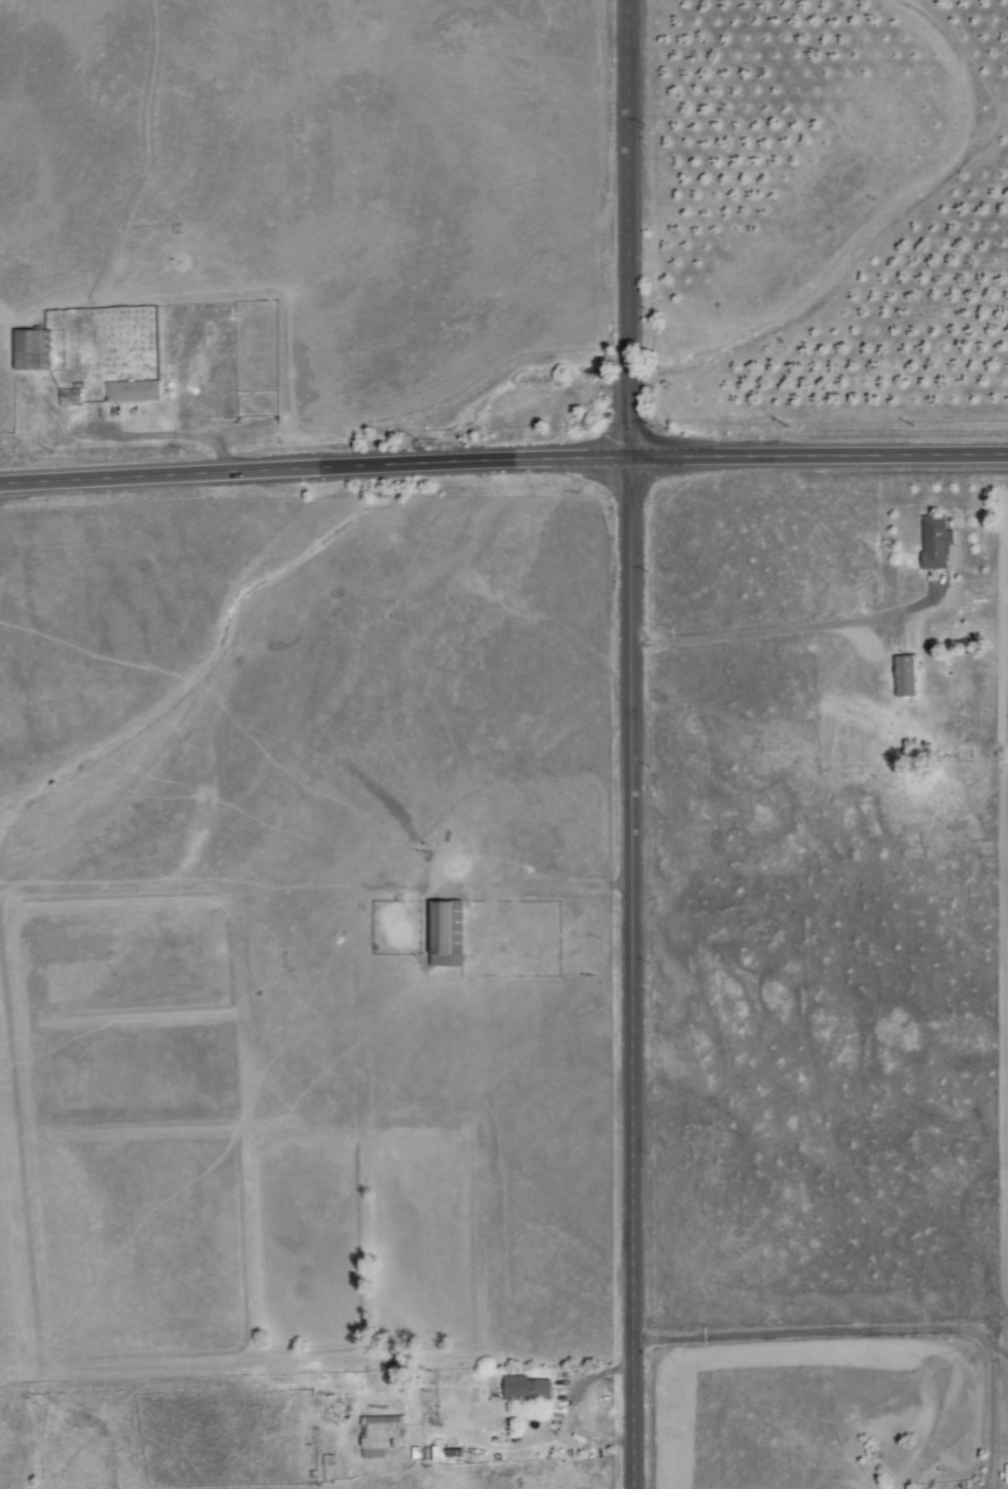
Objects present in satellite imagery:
road: (628, 229)
building: (34, 350)
building: (135, 392)
building: (71, 397)
road: (503, 461)
building: (937, 542)
road: (782, 626)
building: (906, 677)
building: (449, 935)
road: (631, 973)
road: (813, 1332)
road: (998, 1351)
building: (528, 1390)
road: (991, 1418)
building: (383, 1436)

